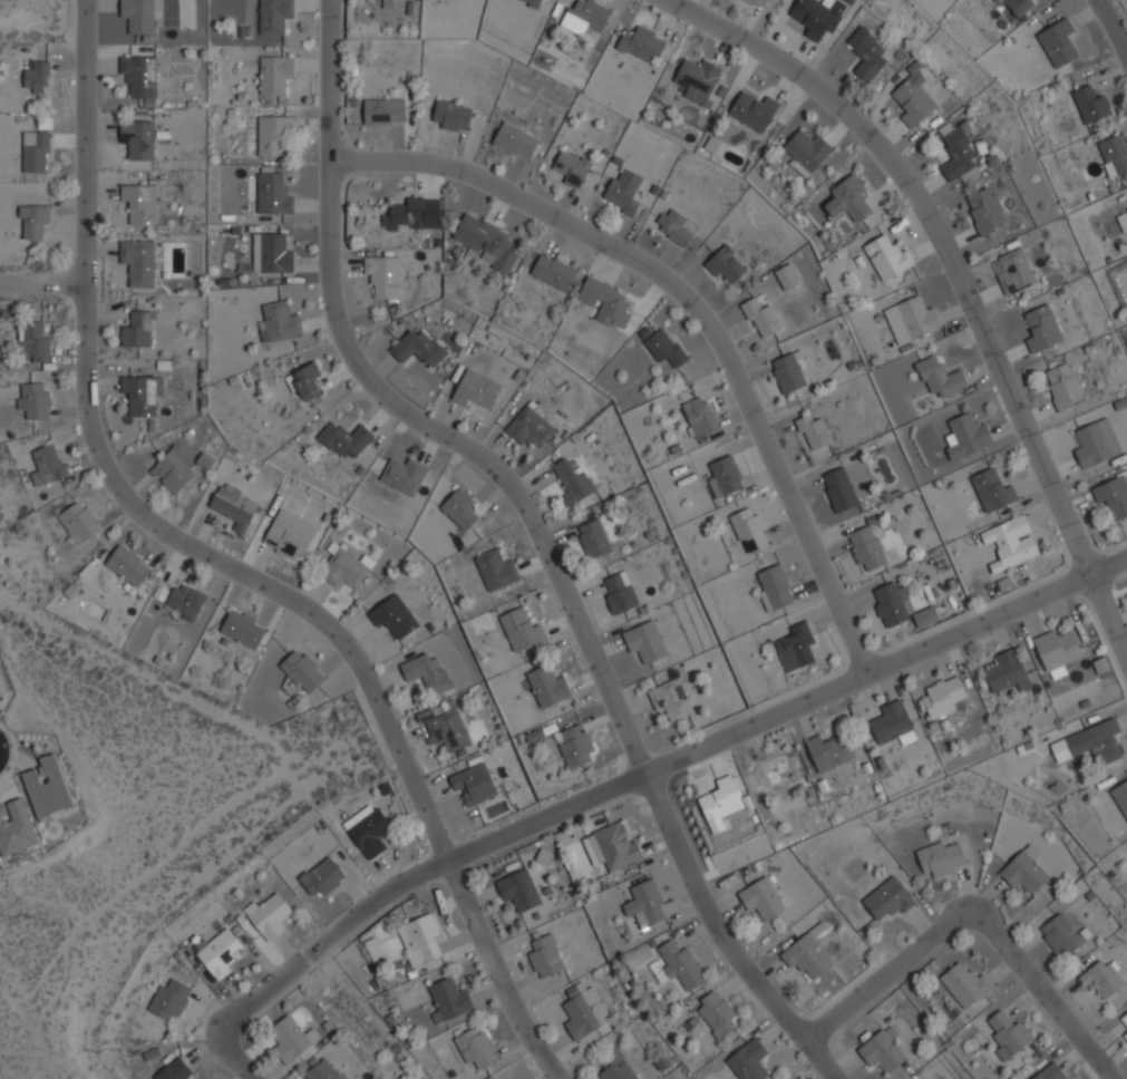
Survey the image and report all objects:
building: (531, 2)
building: (757, 2)
building: (1018, 4)
building: (392, 6)
building: (139, 14)
building: (273, 16)
building: (820, 16)
building: (583, 17)
road: (1111, 28)
building: (1057, 42)
building: (641, 43)
building: (865, 52)
building: (273, 74)
building: (139, 75)
building: (37, 77)
building: (697, 79)
building: (912, 100)
building: (1089, 104)
building: (382, 110)
building: (752, 110)
building: (449, 115)
building: (270, 134)
building: (137, 138)
building: (514, 140)
building: (805, 150)
building: (35, 152)
building: (955, 153)
building: (1113, 154)
building: (571, 167)
building: (621, 191)
building: (272, 194)
building: (847, 198)
building: (138, 202)
building: (1126, 206)
building: (983, 211)
building: (406, 213)
building: (33, 221)
building: (1123, 221)
building: (671, 225)
building: (485, 241)
building: (271, 253)
building: (886, 256)
building: (138, 262)
building: (725, 264)
building: (552, 271)
building: (1013, 271)
building: (382, 274)
building: (786, 276)
road: (956, 279)
road: (41, 282)
building: (604, 300)
road: (696, 307)
building: (759, 317)
building: (917, 317)
building: (279, 322)
building: (135, 329)
building: (1041, 329)
building: (35, 342)
building: (416, 348)
building: (663, 348)
building: (787, 372)
building: (939, 378)
building: (307, 380)
building: (1062, 386)
building: (475, 392)
building: (140, 395)
building: (35, 401)
building: (699, 416)
building: (527, 427)
building: (812, 431)
building: (965, 436)
building: (344, 439)
building: (1095, 443)
building: (47, 465)
building: (175, 469)
building: (402, 475)
building: (723, 476)
building: (572, 483)
building: (837, 488)
building: (991, 490)
building: (1113, 496)
building: (233, 505)
building: (458, 508)
building: (79, 523)
building: (748, 529)
road: (542, 533)
building: (289, 535)
building: (592, 538)
building: (1009, 542)
building: (865, 548)
building: (344, 564)
road: (224, 565)
building: (127, 566)
building: (495, 570)
building: (773, 587)
building: (618, 592)
building: (185, 602)
building: (897, 605)
building: (392, 615)
building: (242, 629)
building: (519, 630)
building: (643, 641)
building: (794, 648)
building: (1056, 651)
building: (302, 671)
building: (1005, 671)
building: (426, 673)
building: (545, 686)
building: (942, 698)
building: (669, 699)
building: (892, 723)
building: (443, 729)
building: (1095, 741)
building: (574, 746)
building: (828, 751)
building: (770, 770)
road: (631, 779)
building: (472, 784)
building: (47, 787)
building: (1120, 797)
building: (719, 803)
building: (16, 827)
building: (367, 830)
building: (613, 847)
building: (940, 857)
building: (1023, 871)
building: (322, 877)
building: (517, 890)
building: (760, 897)
building: (887, 898)
building: (648, 904)
building: (269, 915)
road: (974, 923)
building: (1060, 933)
building: (420, 936)
building: (218, 953)
building: (806, 954)
building: (545, 956)
building: (677, 965)
building: (1101, 978)
building: (964, 984)
building: (168, 1000)
building: (448, 1000)
building: (583, 1011)
building: (717, 1013)
building: (1125, 1019)
building: (1008, 1032)
building: (1125, 1034)
building: (290, 1039)
building: (474, 1047)
building: (881, 1050)
building: (748, 1060)
building: (615, 1067)
building: (174, 1070)
building: (322, 1070)
building: (1049, 1072)
building: (926, 1078)

